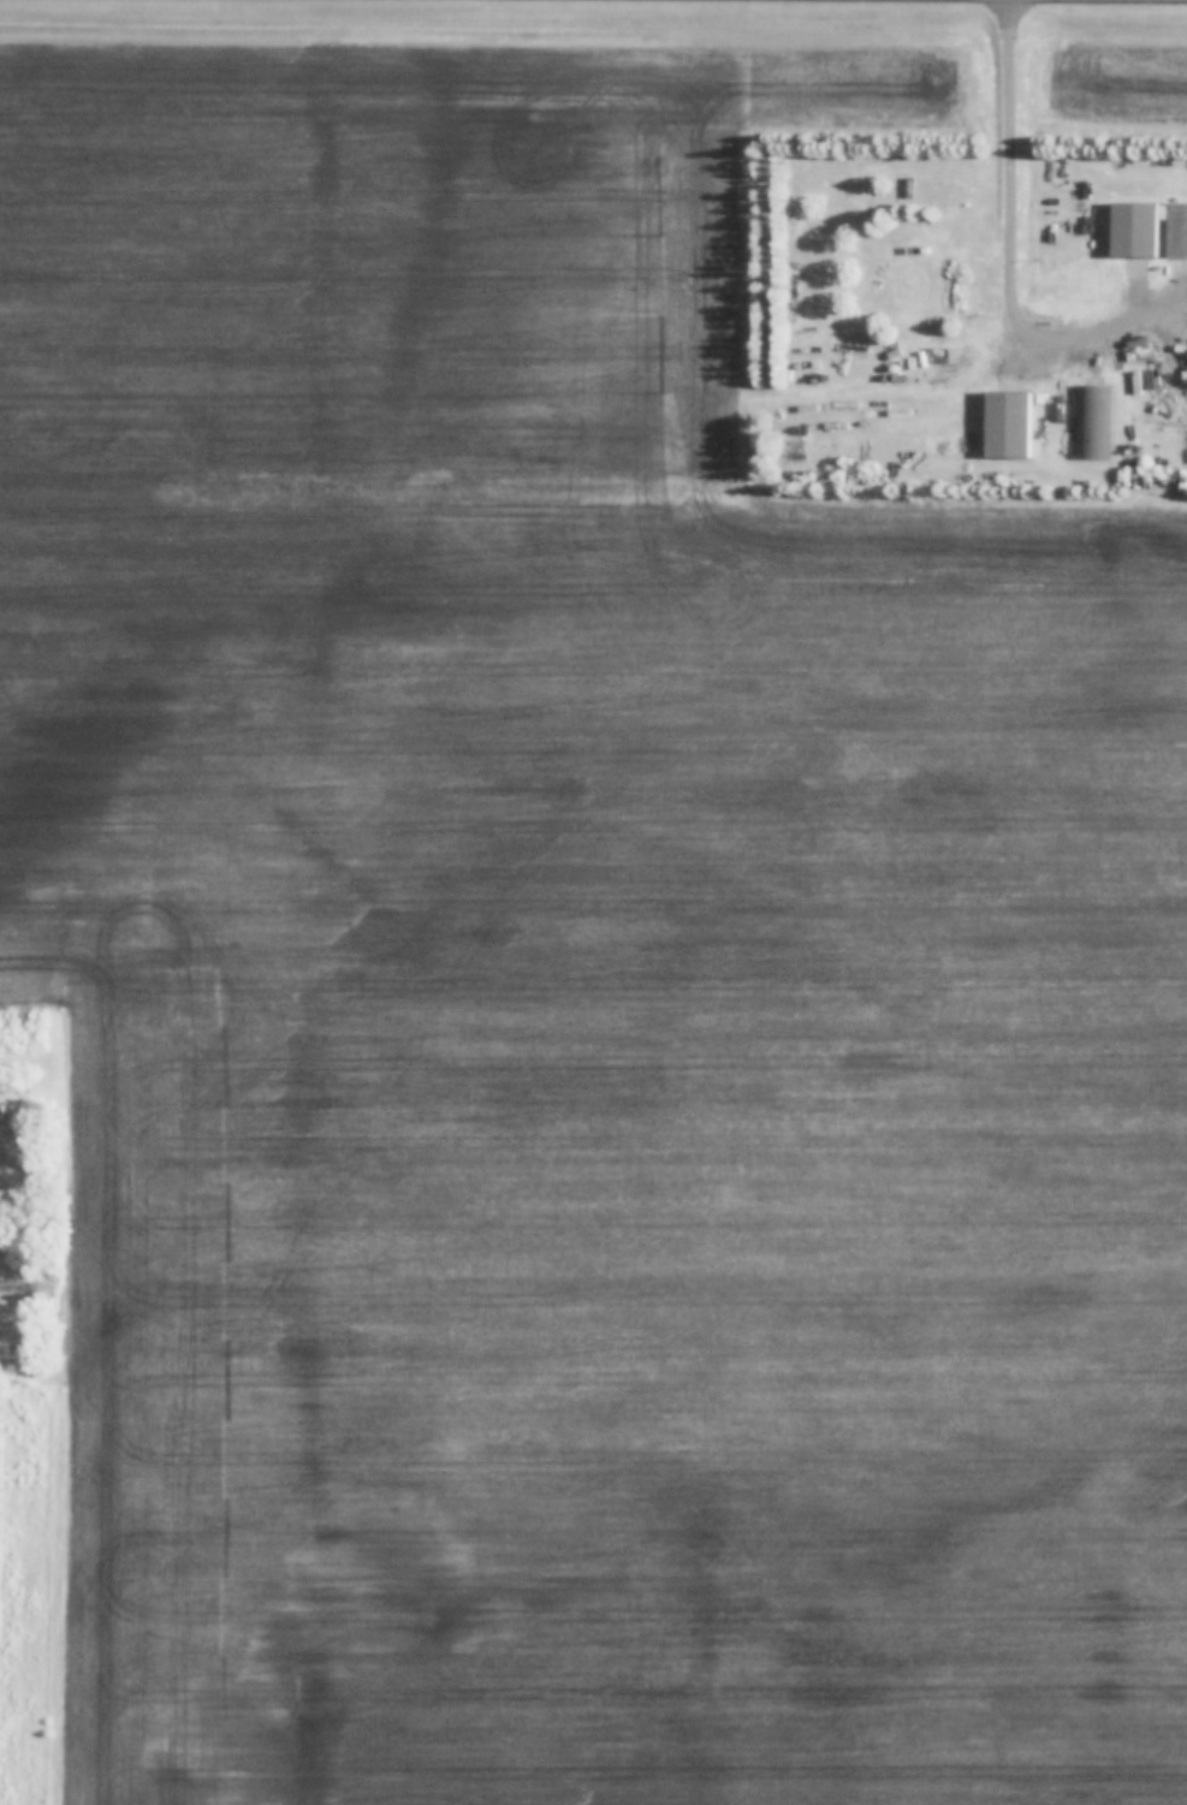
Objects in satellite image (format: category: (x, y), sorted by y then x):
road: (1013, 179)
building: (1147, 231)
building: (913, 275)
road: (1100, 331)
building: (1093, 420)
building: (1008, 421)
building: (965, 447)
building: (14, 1355)

